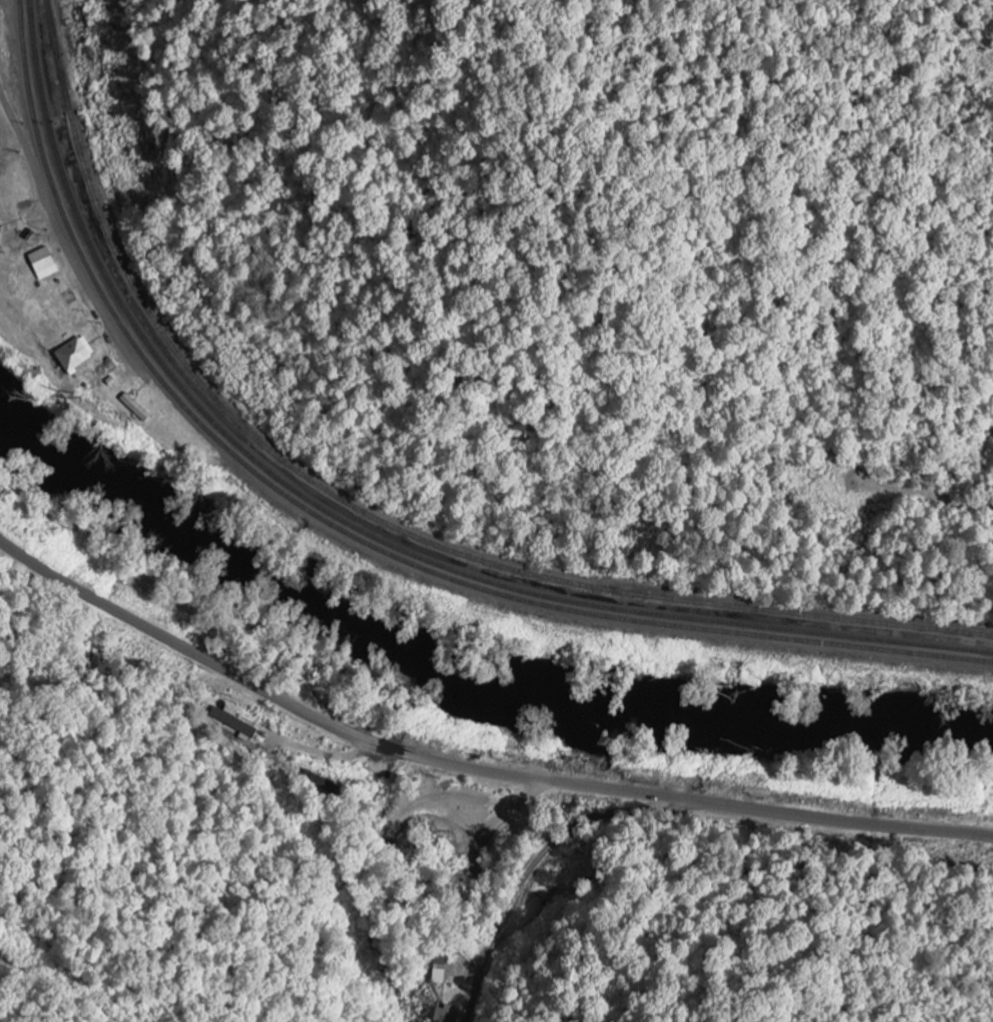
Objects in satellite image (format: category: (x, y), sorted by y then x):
building: (41, 264)
road: (85, 283)
building: (72, 355)
railway: (359, 525)
railway: (351, 530)
river: (466, 669)
building: (230, 723)
road: (471, 768)
building: (461, 812)
road: (542, 858)
building: (438, 971)
building: (455, 999)

